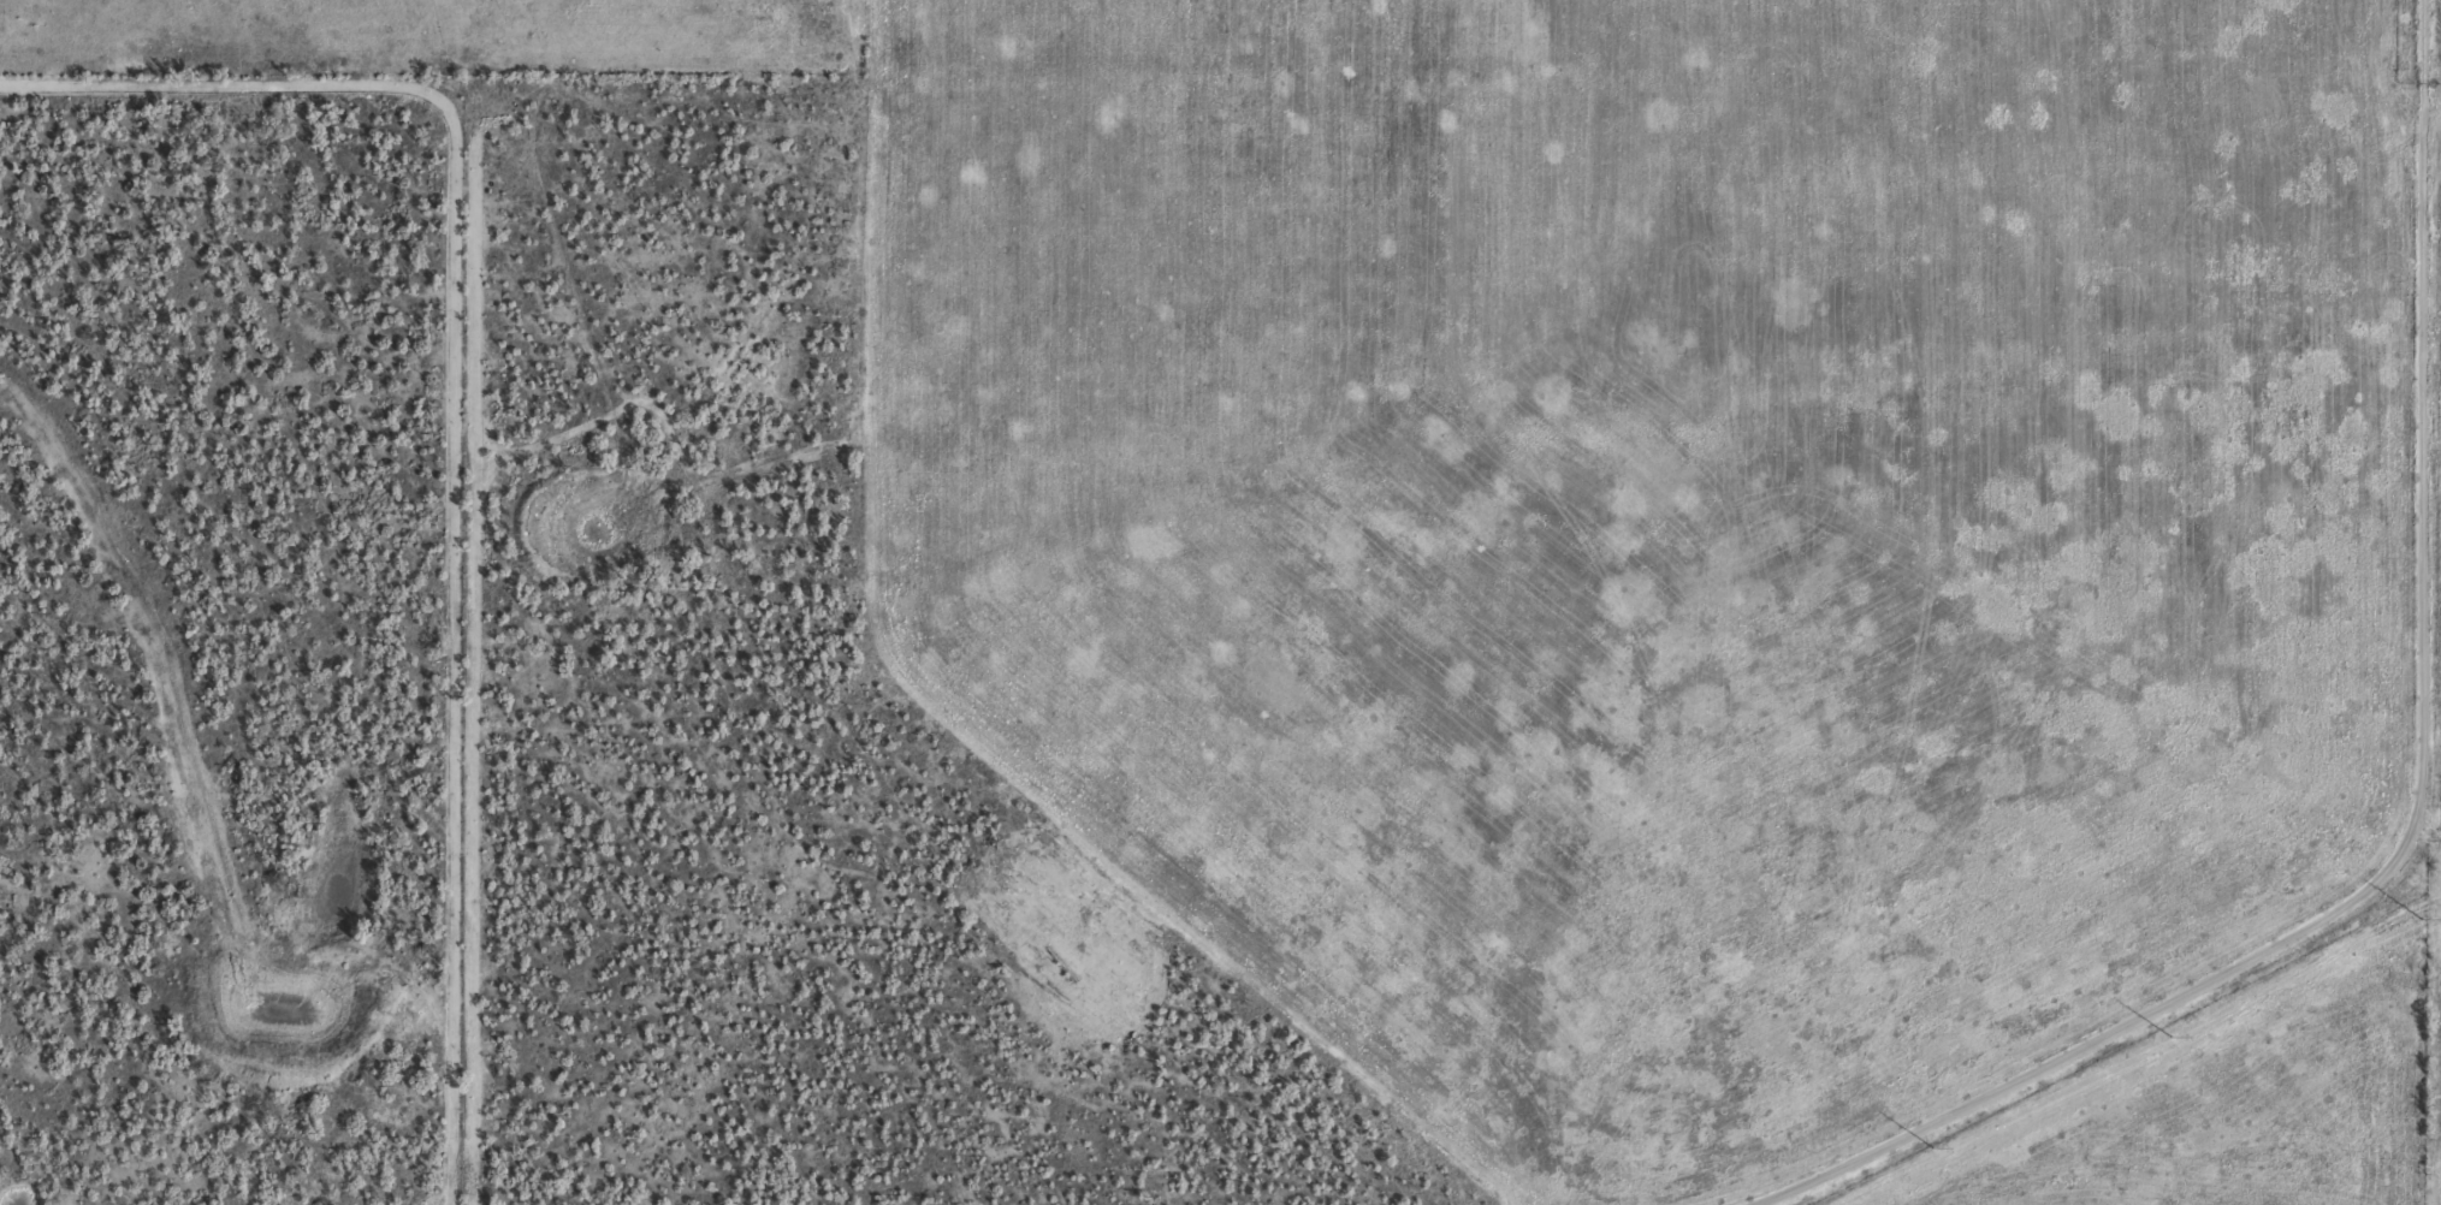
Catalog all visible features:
road: (2425, 800)

